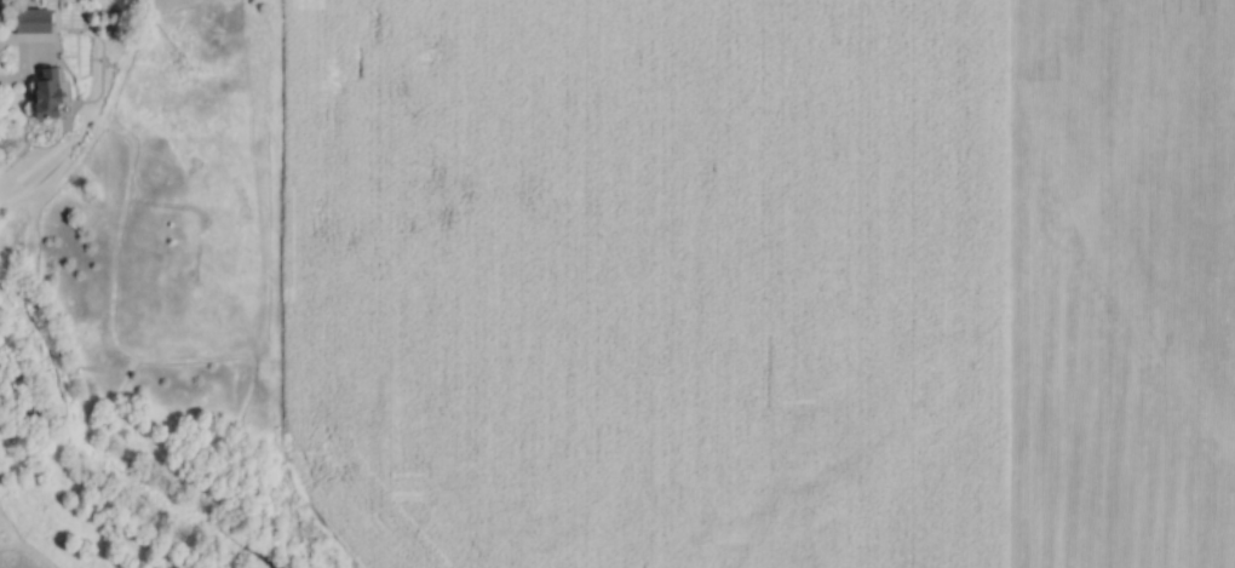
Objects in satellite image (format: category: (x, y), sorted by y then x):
building: (28, 22)
building: (46, 96)

